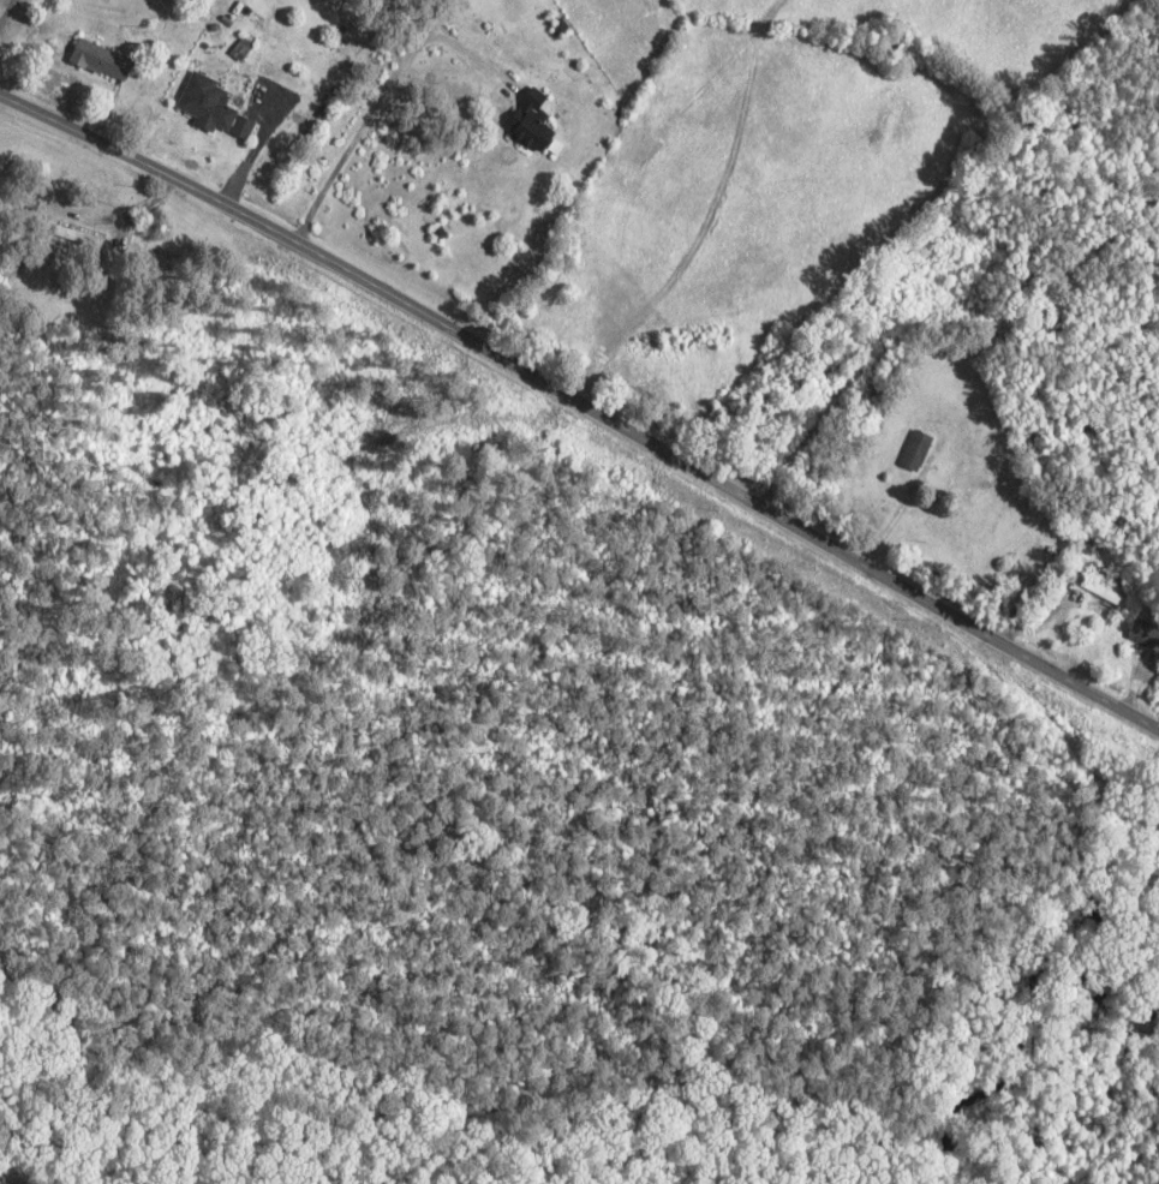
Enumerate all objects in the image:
building: (103, 60)
building: (214, 107)
building: (528, 121)
building: (82, 237)
road: (587, 384)
building: (915, 450)
building: (1145, 633)

